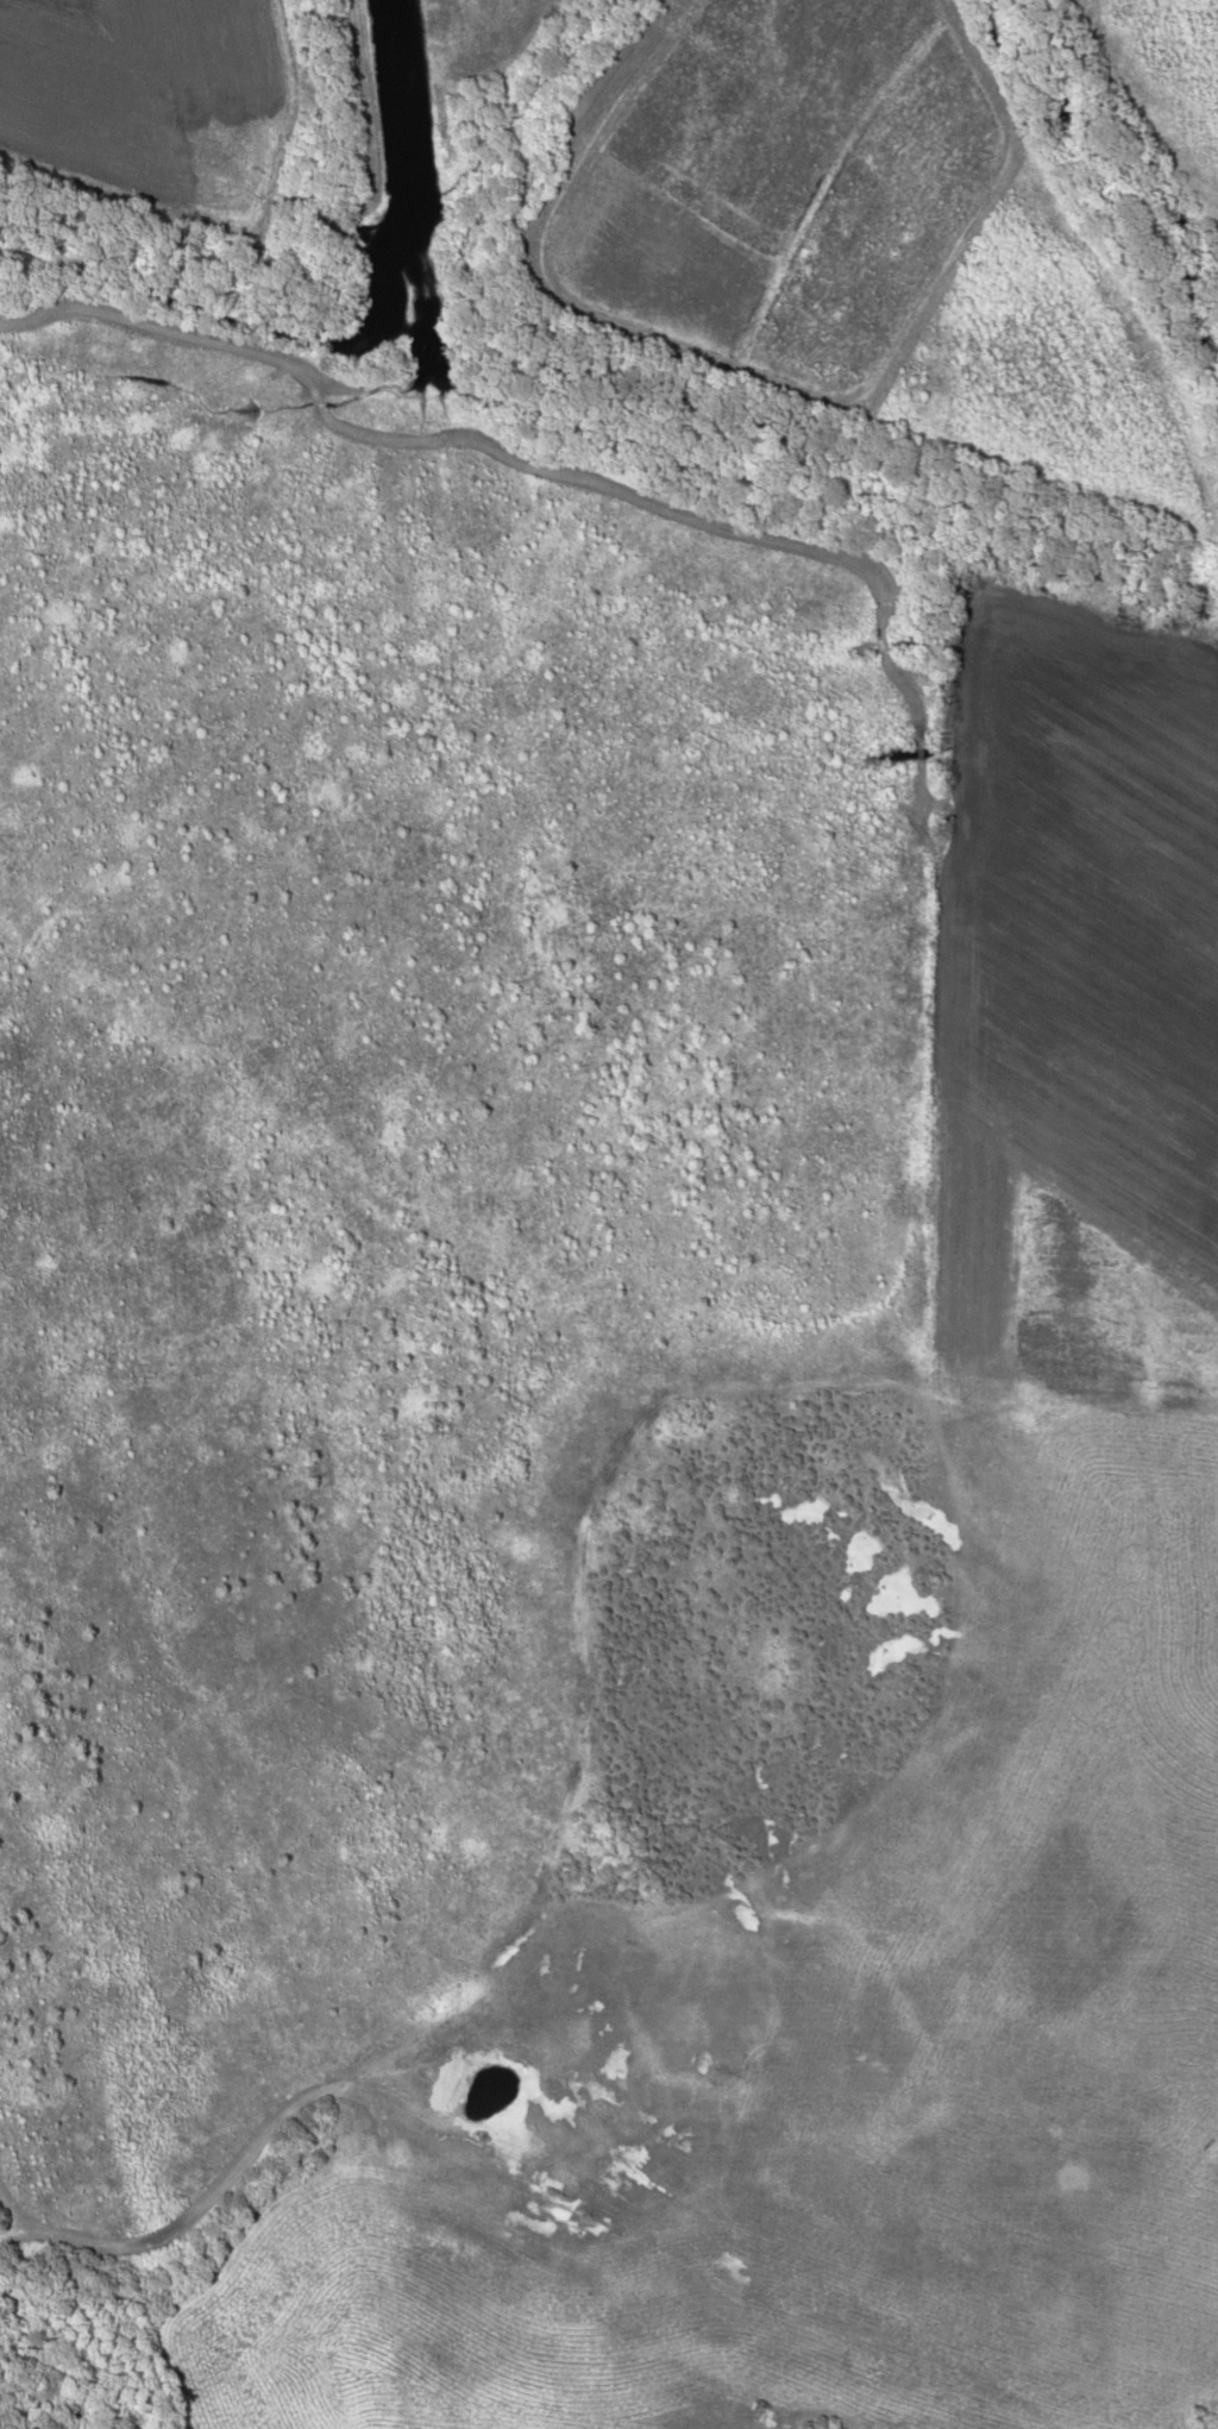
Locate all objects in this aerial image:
road: (1149, 2423)

